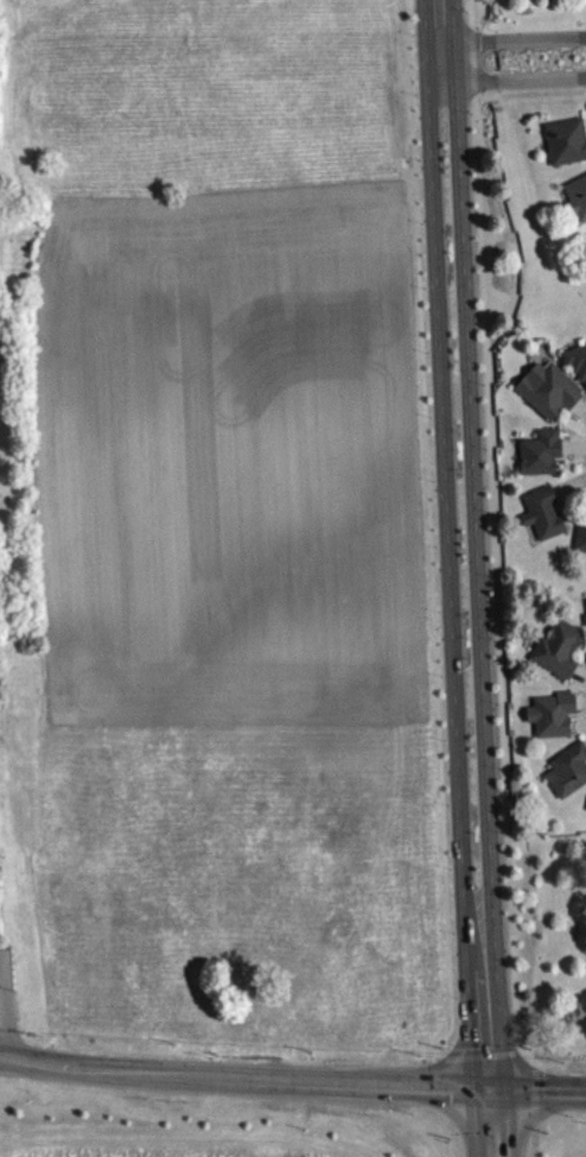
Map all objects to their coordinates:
building: (560, 2)
road: (439, 40)
road: (512, 40)
road: (512, 80)
building: (567, 150)
building: (579, 204)
building: (578, 368)
building: (552, 397)
building: (542, 461)
road: (473, 495)
road: (445, 498)
building: (546, 521)
road: (429, 527)
building: (581, 544)
road: (495, 582)
building: (561, 656)
building: (554, 722)
building: (569, 779)
road: (484, 999)
road: (474, 1057)
road: (292, 1079)
traffic signals: (490, 1088)
road: (491, 1123)

